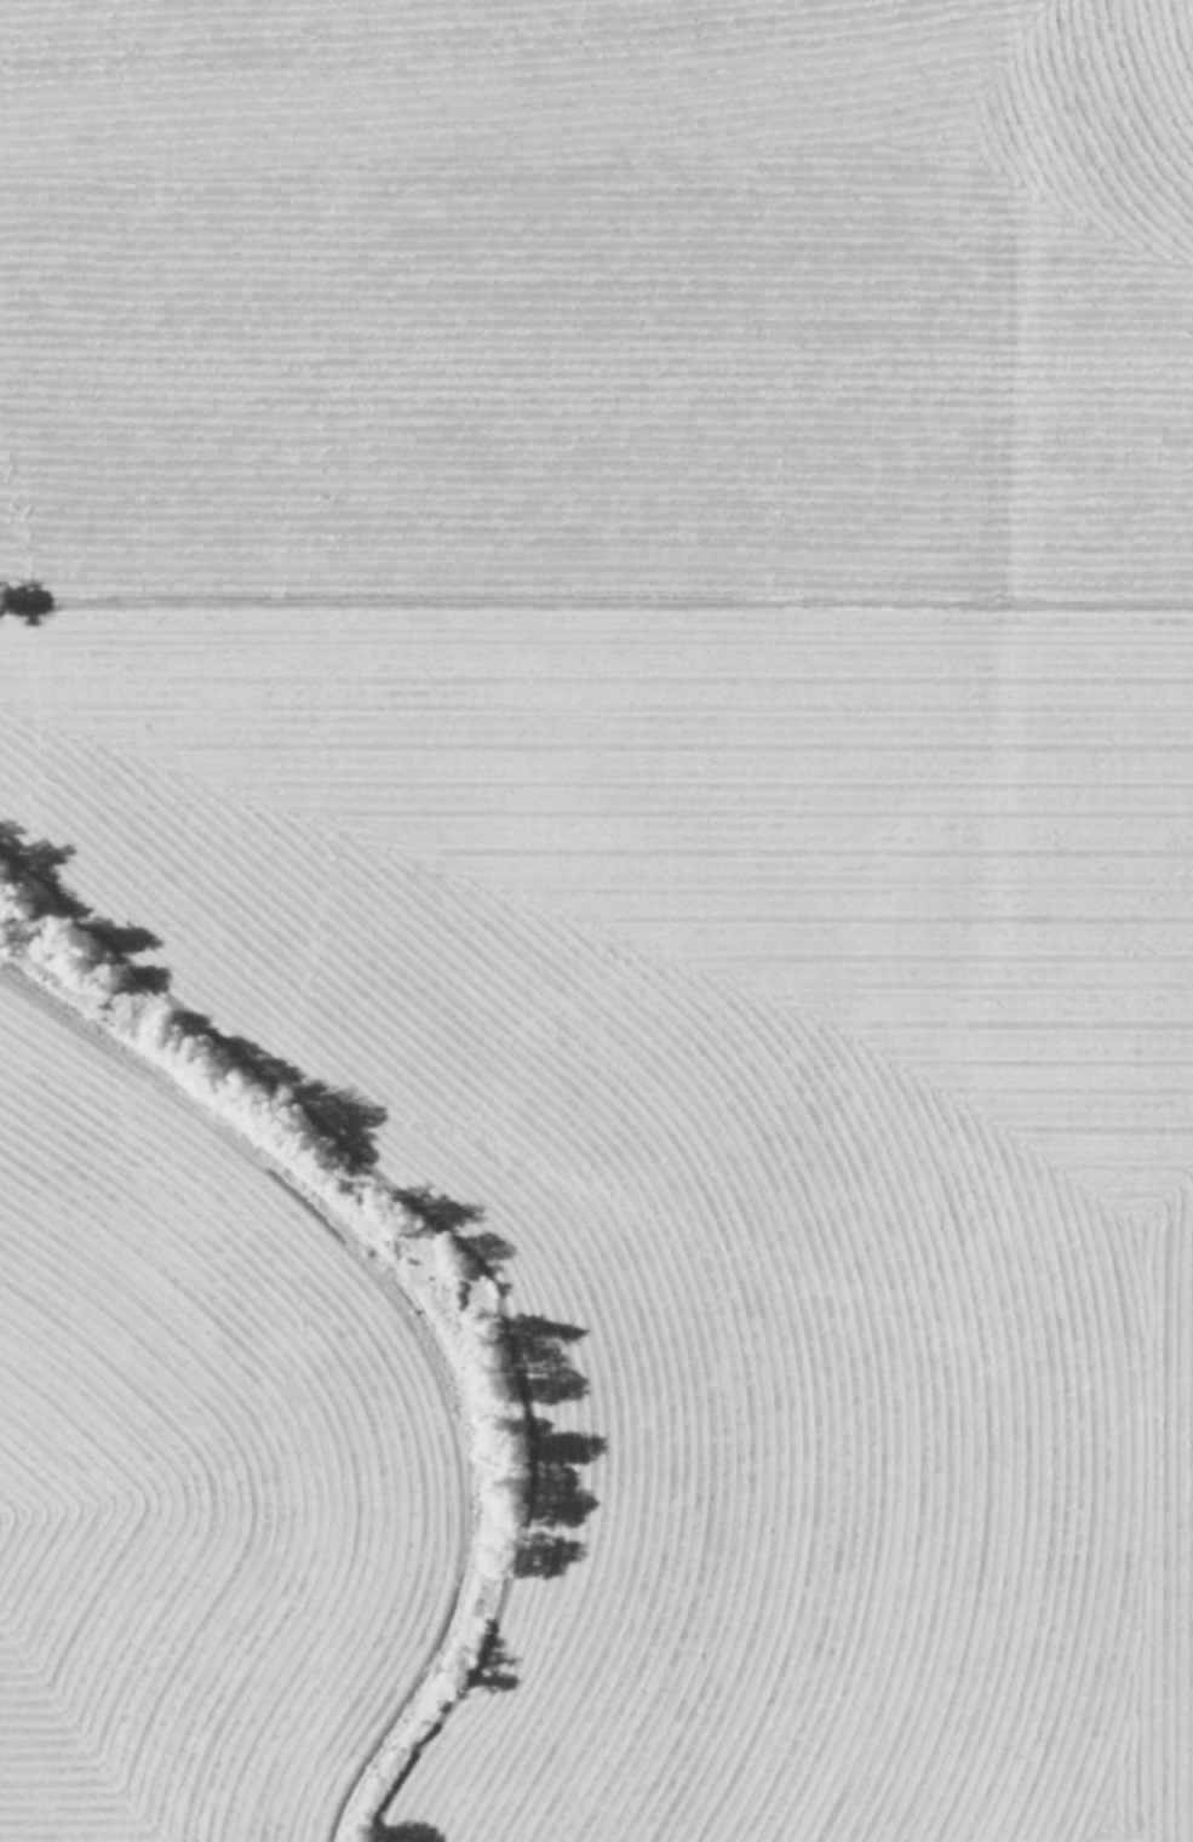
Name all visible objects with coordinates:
crop: (596, 921)

